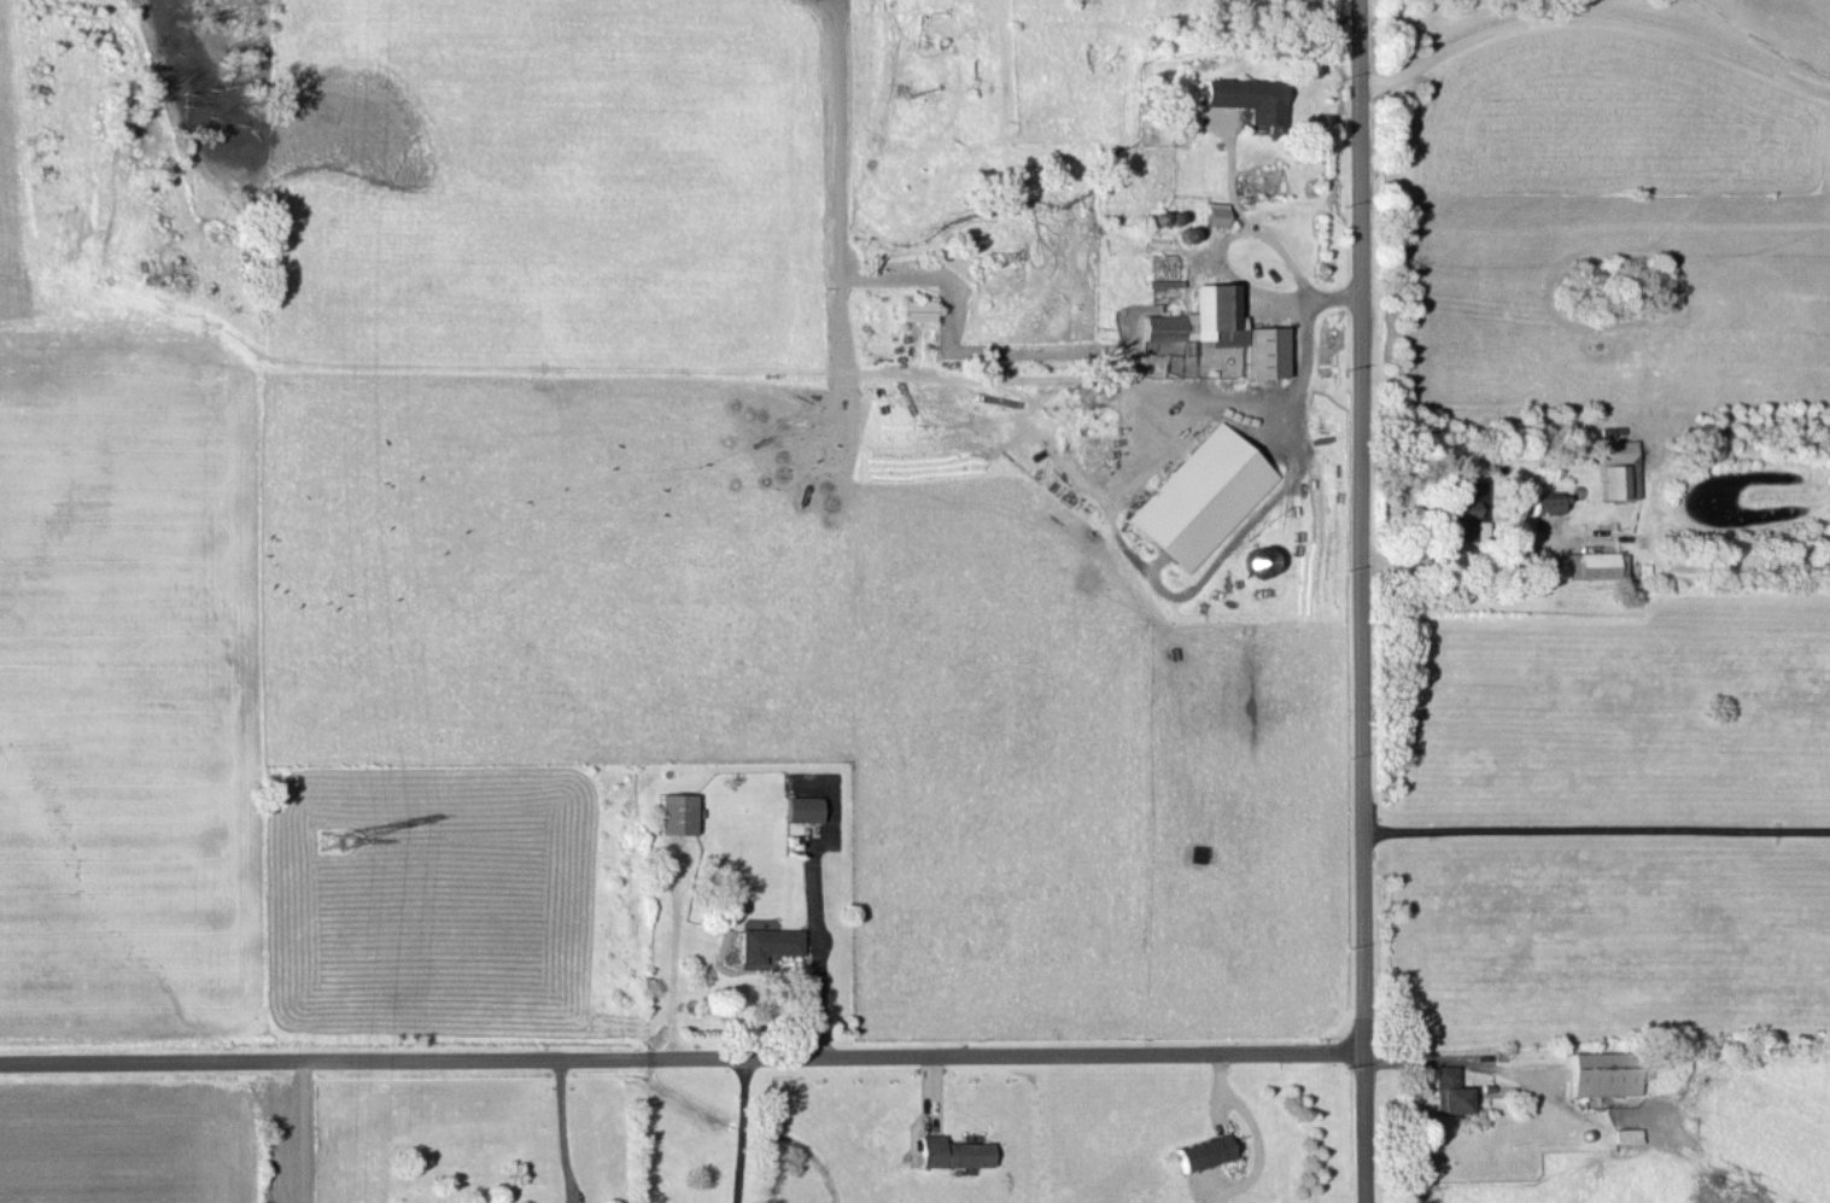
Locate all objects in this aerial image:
road: (1597, 18)
building: (1246, 97)
building: (1215, 211)
road: (1257, 234)
road: (1233, 276)
building: (1199, 317)
building: (1195, 346)
building: (1265, 351)
road: (1298, 357)
building: (1616, 468)
building: (1202, 496)
building: (1545, 502)
building: (1462, 508)
building: (1259, 560)
road: (1449, 561)
building: (1594, 563)
road: (1358, 601)
building: (801, 807)
building: (676, 812)
road: (1598, 825)
power tower: (329, 847)
building: (766, 942)
road: (817, 952)
road: (683, 1056)
building: (1601, 1073)
building: (1446, 1091)
road: (741, 1129)
road: (565, 1131)
building: (951, 1151)
building: (1203, 1151)

